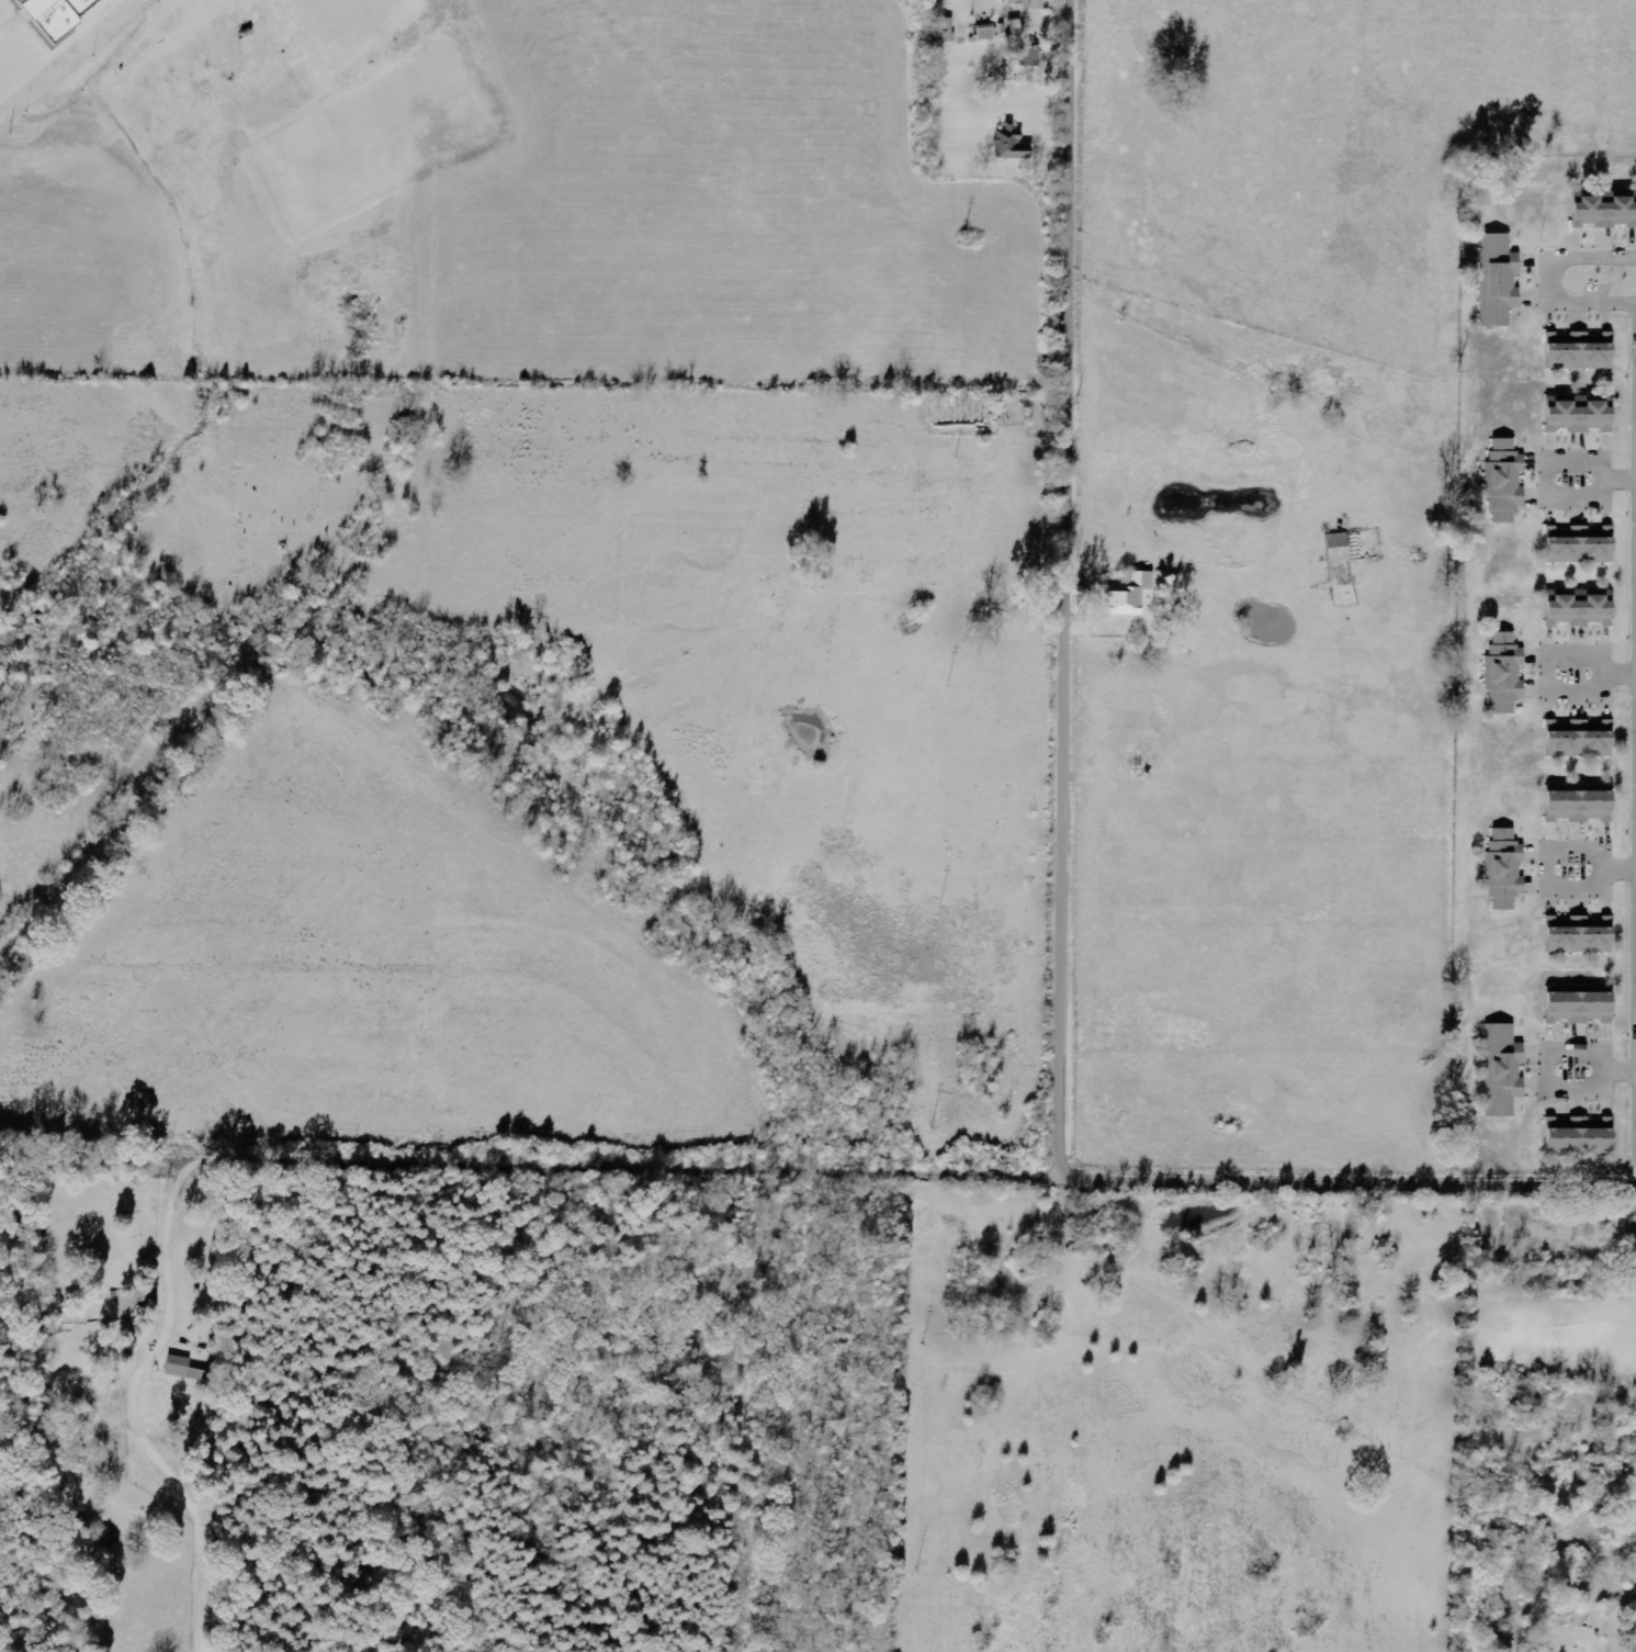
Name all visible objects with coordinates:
building: (1033, 3)
building: (50, 13)
building: (947, 26)
park: (38, 31)
building: (989, 33)
road: (71, 57)
building: (1034, 57)
building: (1015, 145)
building: (1601, 212)
road: (1548, 281)
building: (1494, 282)
building: (1575, 352)
building: (1575, 417)
road: (1618, 481)
building: (1501, 484)
road: (1549, 484)
building: (1575, 547)
building: (1334, 548)
road: (1063, 585)
building: (1135, 596)
building: (1575, 610)
road: (1546, 673)
building: (1500, 675)
road: (1621, 677)
building: (1573, 740)
building: (1575, 807)
road: (1542, 862)
building: (1500, 870)
road: (1618, 873)
building: (1573, 936)
building: (1575, 1008)
building: (1499, 1072)
road: (1618, 1072)
road: (1550, 1075)
building: (1575, 1138)
road: (1208, 1177)
building: (184, 1369)

